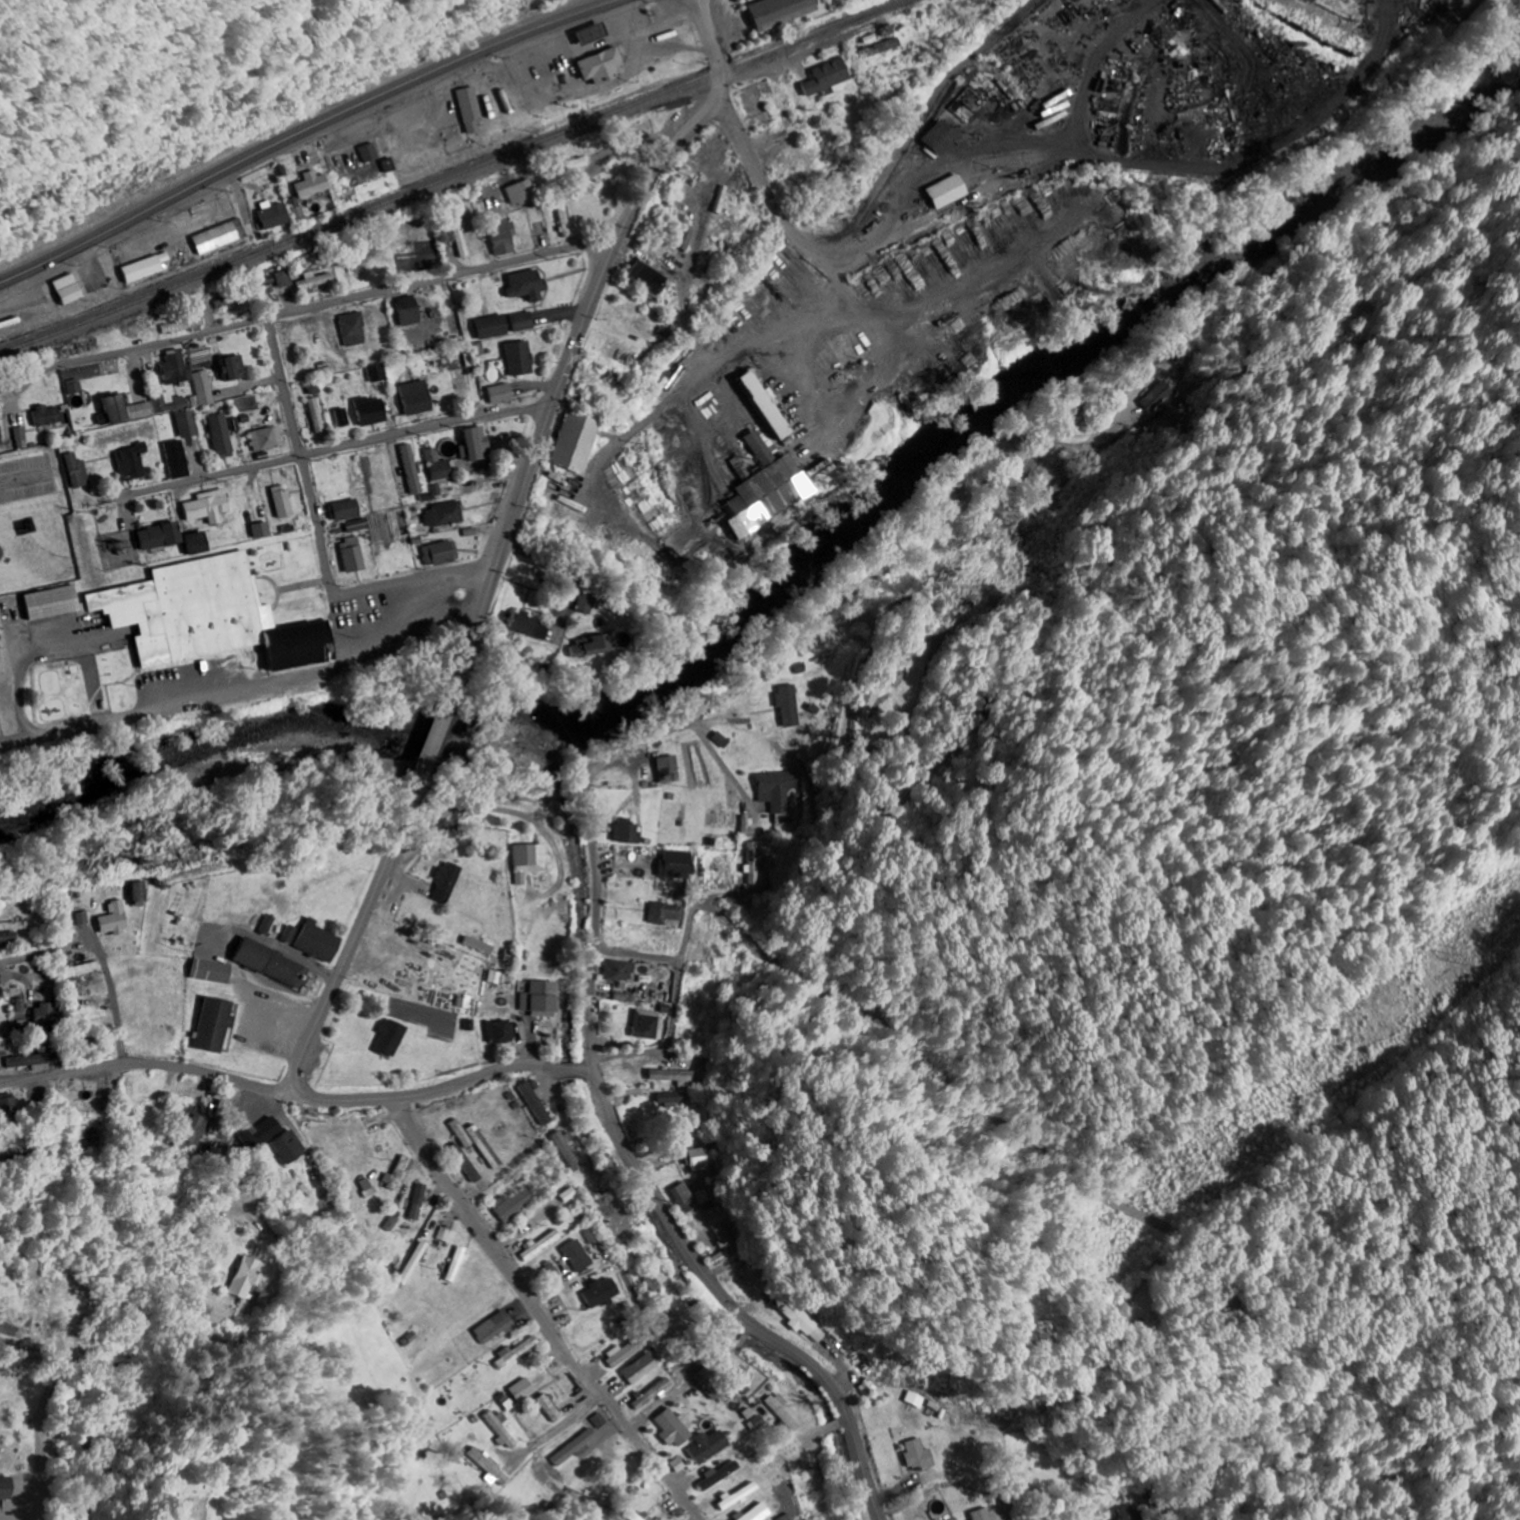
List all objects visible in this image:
building: (781, 12)
building: (597, 31)
road: (783, 63)
building: (603, 66)
building: (828, 77)
building: (471, 109)
road: (306, 131)
building: (941, 138)
building: (371, 153)
building: (578, 164)
railway: (448, 177)
building: (314, 185)
building: (947, 191)
building: (523, 193)
building: (275, 215)
building: (222, 236)
building: (504, 237)
building: (147, 268)
building: (285, 279)
building: (648, 279)
building: (316, 280)
building: (527, 285)
building: (71, 289)
road: (327, 307)
building: (410, 311)
road: (587, 315)
building: (522, 321)
building: (184, 326)
building: (492, 327)
building: (354, 329)
building: (478, 349)
building: (519, 359)
building: (189, 366)
building: (233, 369)
building: (378, 373)
building: (203, 383)
building: (314, 387)
building: (76, 388)
building: (500, 394)
building: (1161, 397)
building: (416, 398)
building: (764, 404)
building: (124, 411)
building: (370, 411)
building: (317, 416)
building: (48, 417)
building: (342, 417)
building: (187, 424)
building: (221, 436)
building: (1, 438)
building: (23, 438)
building: (267, 439)
building: (574, 442)
building: (475, 445)
road: (337, 448)
building: (758, 448)
building: (177, 460)
building: (132, 462)
building: (437, 466)
building: (410, 469)
building: (78, 471)
building: (766, 496)
building: (283, 503)
building: (208, 507)
building: (344, 511)
building: (443, 514)
building: (356, 525)
building: (260, 531)
road: (319, 534)
building: (159, 537)
building: (196, 544)
building: (440, 554)
building: (351, 555)
river: (797, 565)
building: (53, 603)
building: (583, 603)
building: (208, 617)
building: (525, 627)
building: (589, 647)
road: (716, 704)
building: (790, 705)
road: (438, 729)
building: (723, 740)
building: (670, 769)
building: (780, 789)
building: (754, 827)
building: (628, 831)
building: (530, 860)
building: (755, 864)
building: (679, 865)
building: (449, 882)
building: (139, 894)
road: (705, 898)
building: (668, 913)
building: (115, 918)
building: (266, 925)
building: (10, 926)
building: (313, 941)
road: (641, 954)
power tower: (1440, 955)
road: (30, 956)
building: (273, 964)
building: (622, 970)
building: (212, 971)
building: (544, 999)
building: (49, 1015)
building: (649, 1024)
building: (216, 1025)
building: (504, 1031)
building: (393, 1038)
road: (670, 1039)
building: (37, 1061)
road: (152, 1062)
road: (564, 1070)
building: (676, 1075)
building: (674, 1099)
building: (538, 1104)
building: (10, 1105)
building: (223, 1117)
building: (195, 1130)
building: (262, 1133)
building: (465, 1133)
building: (291, 1146)
building: (488, 1147)
building: (569, 1152)
building: (701, 1160)
building: (401, 1174)
building: (373, 1187)
road: (638, 1187)
building: (685, 1197)
building: (423, 1201)
building: (518, 1205)
building: (397, 1223)
building: (543, 1244)
building: (580, 1256)
building: (464, 1264)
building: (554, 1272)
building: (248, 1278)
building: (655, 1283)
building: (603, 1293)
road: (543, 1316)
building: (799, 1321)
building: (500, 1327)
road: (744, 1340)
building: (629, 1351)
building: (520, 1352)
building: (644, 1370)
building: (713, 1384)
building: (528, 1390)
building: (654, 1395)
building: (917, 1399)
road: (45, 1405)
building: (784, 1411)
building: (604, 1420)
building: (677, 1428)
road: (834, 1428)
building: (506, 1429)
building: (712, 1446)
building: (581, 1448)
building: (920, 1455)
building: (493, 1467)
building: (722, 1475)
building: (7, 1486)
park: (253, 1486)
building: (741, 1496)
building: (759, 1512)
building: (1130, 1513)
building: (986, 1515)
building: (644, 1516)
road: (1052, 1518)

